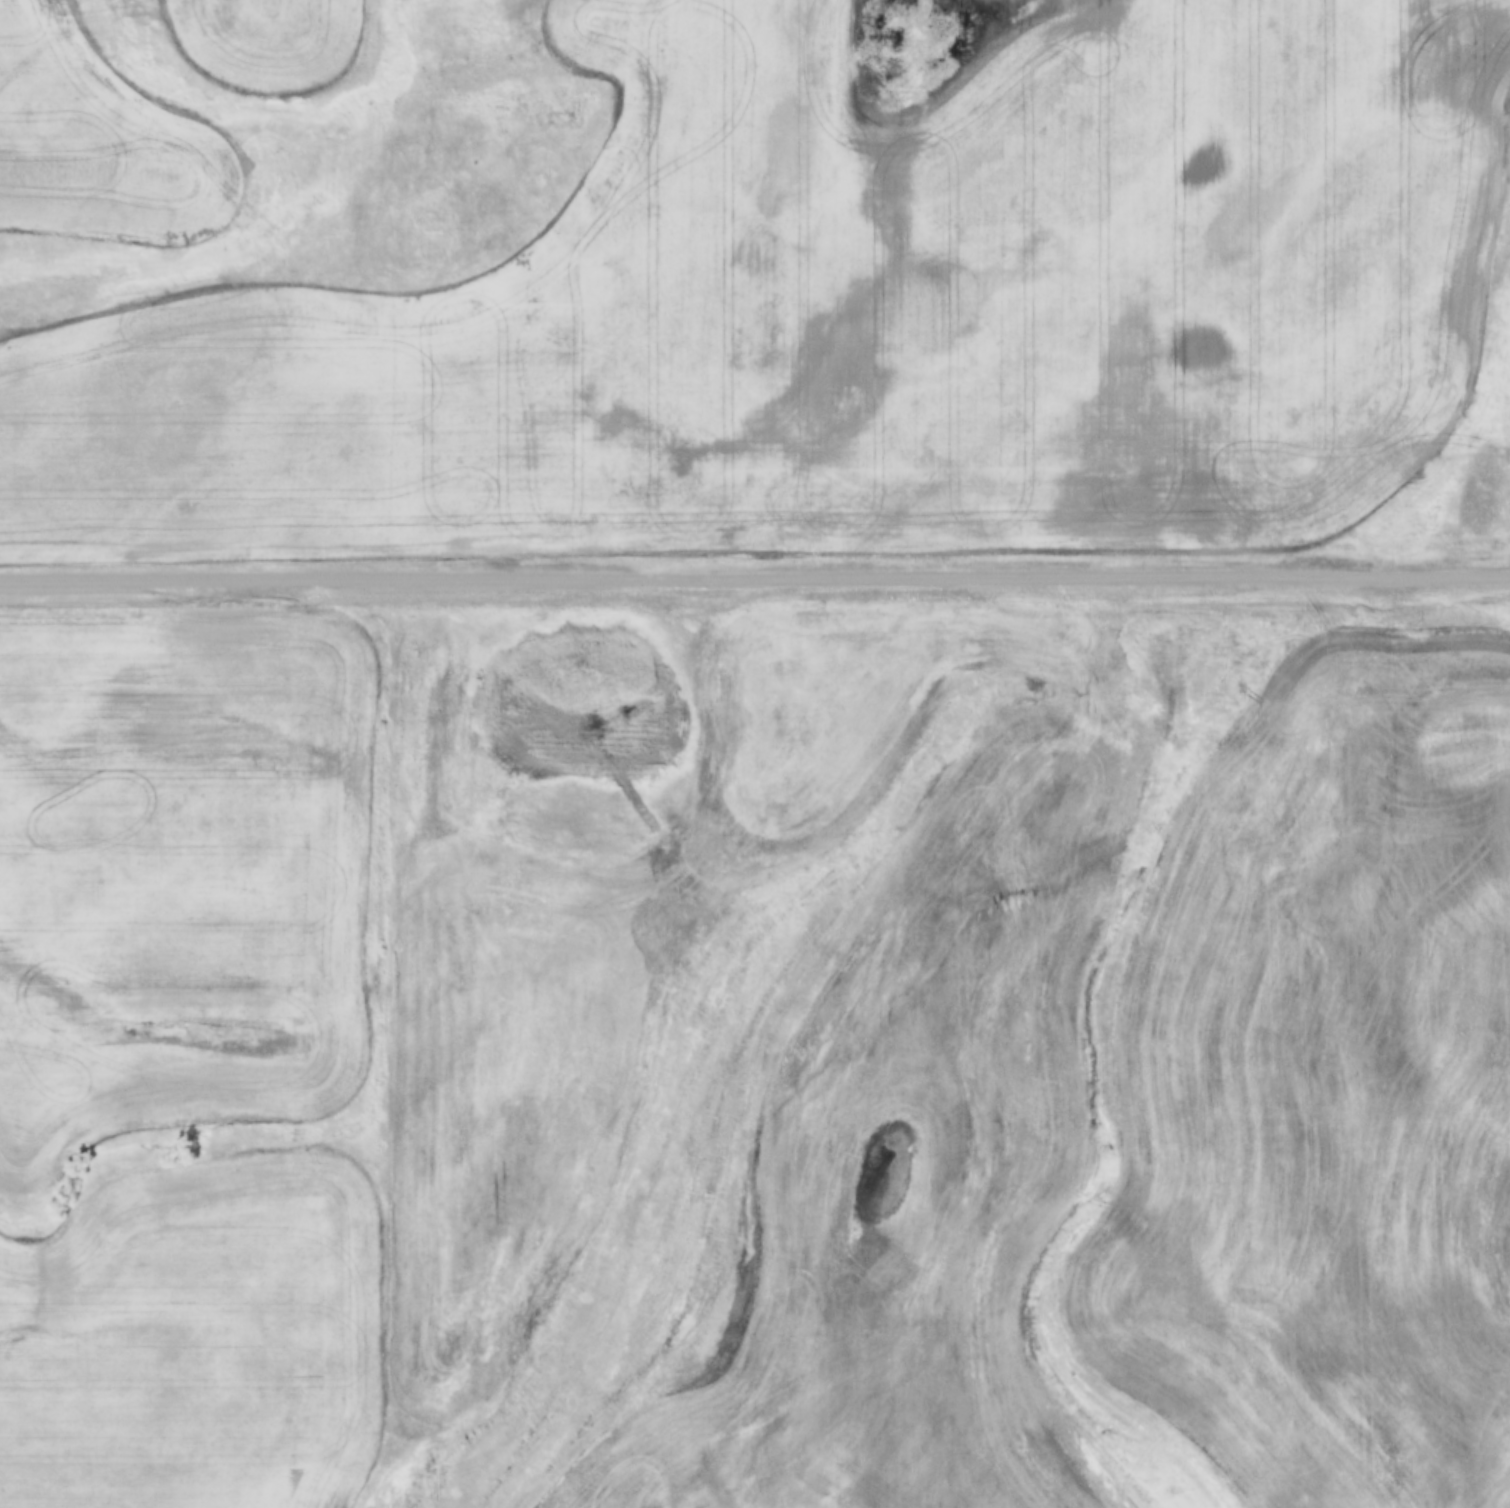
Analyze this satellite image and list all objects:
road: (755, 577)

